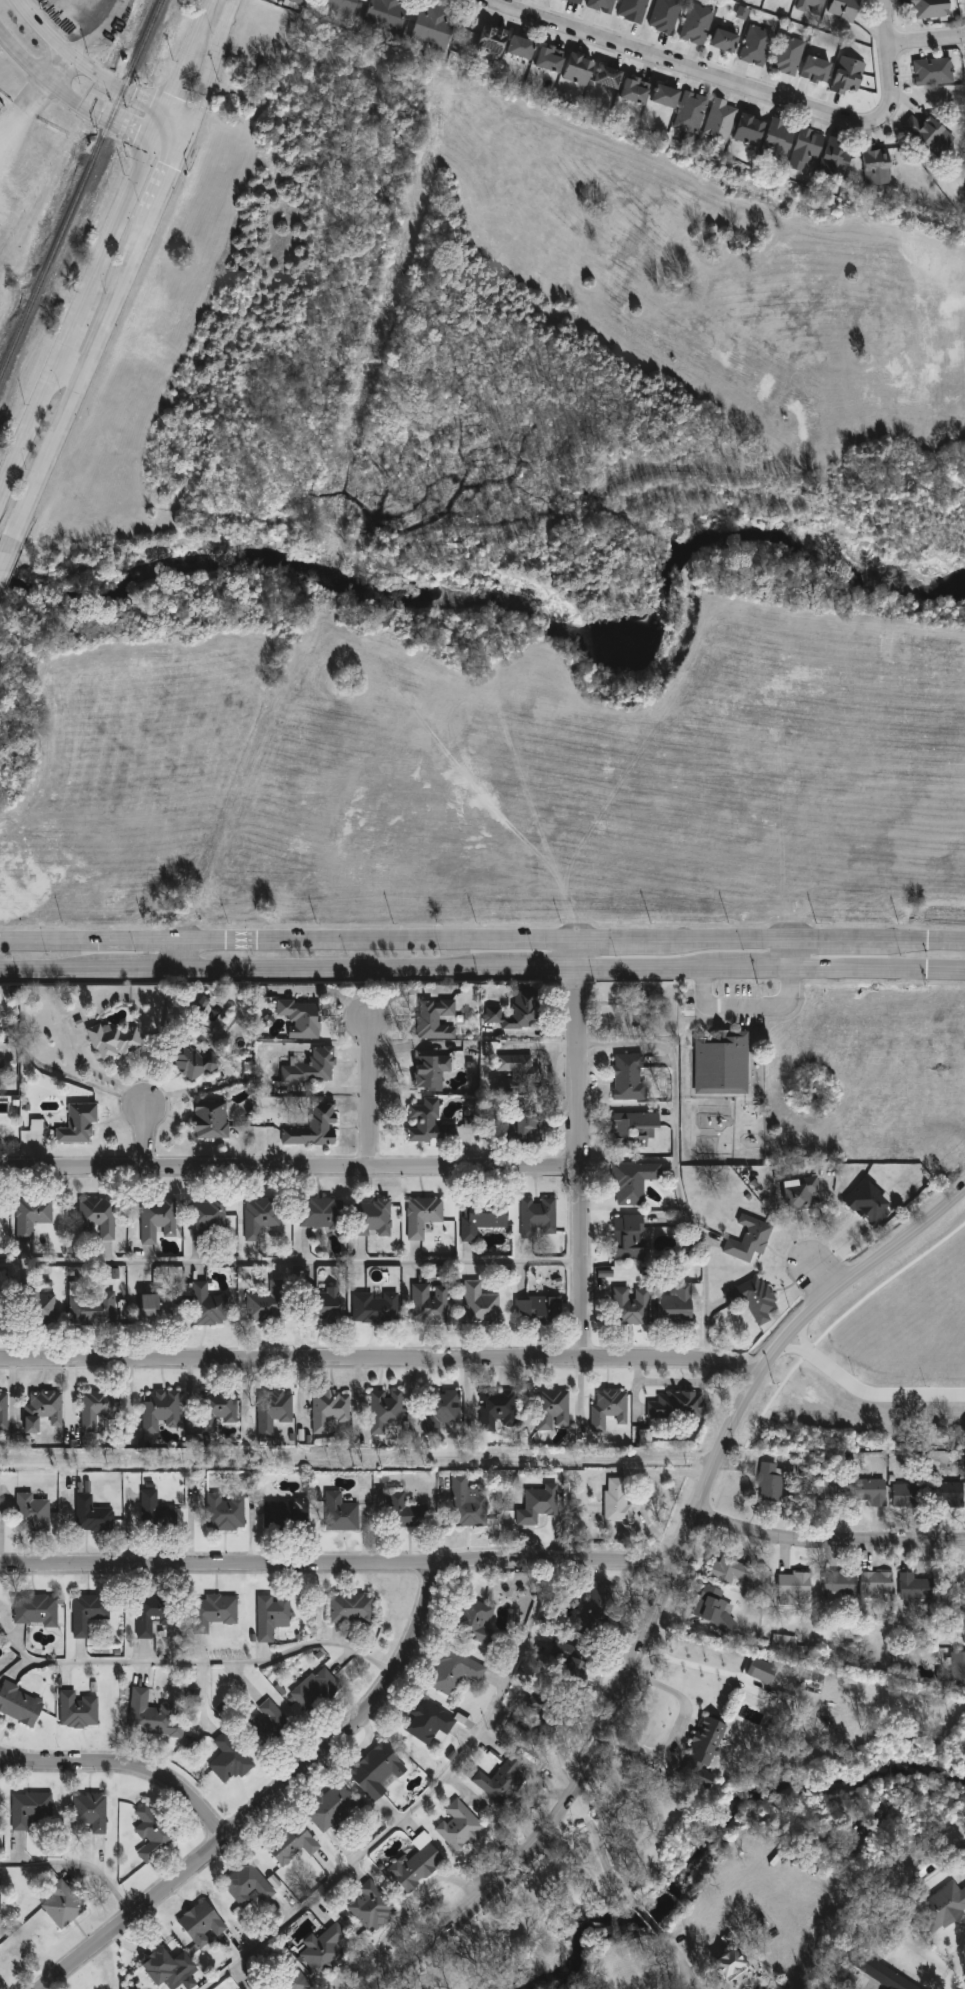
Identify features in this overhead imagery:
building: (302, 1)
building: (578, 1)
building: (602, 5)
building: (813, 6)
building: (341, 7)
building: (934, 8)
building: (846, 9)
building: (634, 10)
building: (390, 15)
building: (666, 15)
building: (698, 24)
building: (437, 26)
road: (204, 27)
road: (101, 32)
building: (726, 40)
building: (495, 41)
road: (925, 41)
building: (758, 46)
building: (524, 47)
building: (789, 55)
road: (193, 59)
building: (552, 59)
road: (888, 60)
road: (86, 65)
road: (681, 67)
building: (818, 69)
building: (581, 70)
road: (211, 71)
building: (934, 71)
road: (61, 72)
building: (850, 75)
building: (611, 77)
road: (179, 90)
building: (638, 90)
building: (668, 96)
road: (70, 99)
road: (22, 108)
building: (693, 112)
traffic signals: (167, 117)
building: (722, 119)
road: (175, 130)
building: (751, 130)
road: (160, 131)
building: (933, 133)
building: (781, 140)
traffic signals: (183, 143)
road: (168, 144)
traffic signals: (154, 146)
building: (809, 149)
building: (839, 157)
building: (880, 164)
road: (169, 177)
railway: (82, 188)
road: (121, 226)
road: (121, 292)
road: (75, 335)
road: (75, 368)
road: (31, 432)
road: (50, 456)
road: (6, 553)
road: (615, 935)
road: (288, 936)
road: (721, 937)
road: (833, 938)
road: (920, 940)
road: (578, 948)
road: (187, 950)
road: (789, 952)
road: (536, 963)
road: (340, 964)
road: (645, 964)
road: (48, 965)
road: (141, 965)
road: (751, 966)
road: (877, 968)
building: (202, 1003)
road: (747, 1006)
park: (635, 1011)
building: (0, 1012)
building: (519, 1012)
building: (303, 1018)
building: (438, 1020)
building: (117, 1041)
building: (490, 1050)
building: (195, 1062)
building: (723, 1062)
building: (2, 1063)
building: (312, 1068)
building: (432, 1071)
building: (519, 1074)
building: (630, 1078)
road: (106, 1080)
road: (371, 1093)
building: (211, 1120)
building: (469, 1122)
building: (80, 1124)
building: (430, 1124)
building: (529, 1126)
building: (314, 1127)
building: (636, 1131)
road: (148, 1135)
road: (579, 1161)
road: (677, 1162)
road: (290, 1167)
building: (635, 1182)
building: (798, 1198)
building: (868, 1204)
building: (322, 1214)
building: (34, 1216)
building: (423, 1216)
building: (100, 1217)
building: (209, 1217)
building: (262, 1217)
building: (373, 1218)
building: (484, 1218)
building: (539, 1218)
building: (158, 1220)
building: (630, 1238)
building: (749, 1239)
road: (291, 1261)
road: (820, 1277)
building: (753, 1299)
building: (270, 1303)
building: (431, 1304)
building: (324, 1305)
building: (481, 1305)
building: (678, 1305)
building: (35, 1306)
building: (209, 1306)
building: (632, 1306)
building: (158, 1308)
building: (377, 1308)
building: (2, 1309)
building: (93, 1309)
building: (539, 1311)
road: (379, 1360)
road: (867, 1393)
building: (678, 1406)
building: (98, 1408)
building: (611, 1408)
building: (220, 1409)
building: (44, 1410)
building: (332, 1410)
building: (4, 1411)
building: (163, 1411)
building: (275, 1411)
building: (443, 1411)
building: (499, 1411)
building: (554, 1411)
building: (386, 1413)
building: (205, 1440)
park: (356, 1459)
building: (770, 1483)
building: (868, 1492)
building: (822, 1494)
building: (907, 1494)
building: (946, 1494)
building: (618, 1501)
building: (469, 1505)
building: (540, 1505)
building: (405, 1511)
building: (227, 1512)
building: (34, 1513)
building: (158, 1513)
building: (288, 1513)
building: (342, 1513)
building: (94, 1515)
road: (827, 1543)
road: (337, 1568)
building: (731, 1571)
building: (962, 1580)
building: (792, 1586)
building: (838, 1586)
building: (875, 1586)
road: (665, 1588)
building: (913, 1588)
building: (353, 1608)
building: (712, 1608)
building: (38, 1610)
building: (600, 1610)
building: (215, 1612)
building: (91, 1613)
building: (155, 1613)
building: (274, 1616)
building: (477, 1620)
building: (963, 1627)
building: (785, 1641)
road: (196, 1661)
building: (957, 1668)
building: (566, 1670)
building: (455, 1671)
building: (318, 1692)
building: (21, 1704)
building: (81, 1711)
building: (155, 1716)
building: (431, 1722)
building: (536, 1722)
building: (271, 1727)
road: (677, 1729)
building: (702, 1751)
building: (231, 1760)
road: (127, 1767)
building: (379, 1771)
building: (503, 1781)
road: (272, 1800)
road: (415, 1805)
building: (334, 1808)
building: (34, 1811)
building: (91, 1814)
building: (461, 1827)
building: (154, 1834)
building: (294, 1844)
road: (602, 1852)
building: (962, 1853)
building: (418, 1865)
road: (77, 1868)
building: (249, 1885)
road: (440, 1888)
building: (66, 1906)
building: (373, 1907)
building: (942, 1907)
road: (650, 1918)
building: (204, 1924)
building: (326, 1950)
road: (680, 1952)
building: (157, 1964)
building: (729, 1965)
building: (885, 1977)
building: (283, 1981)
road: (685, 1982)
road: (698, 1982)

